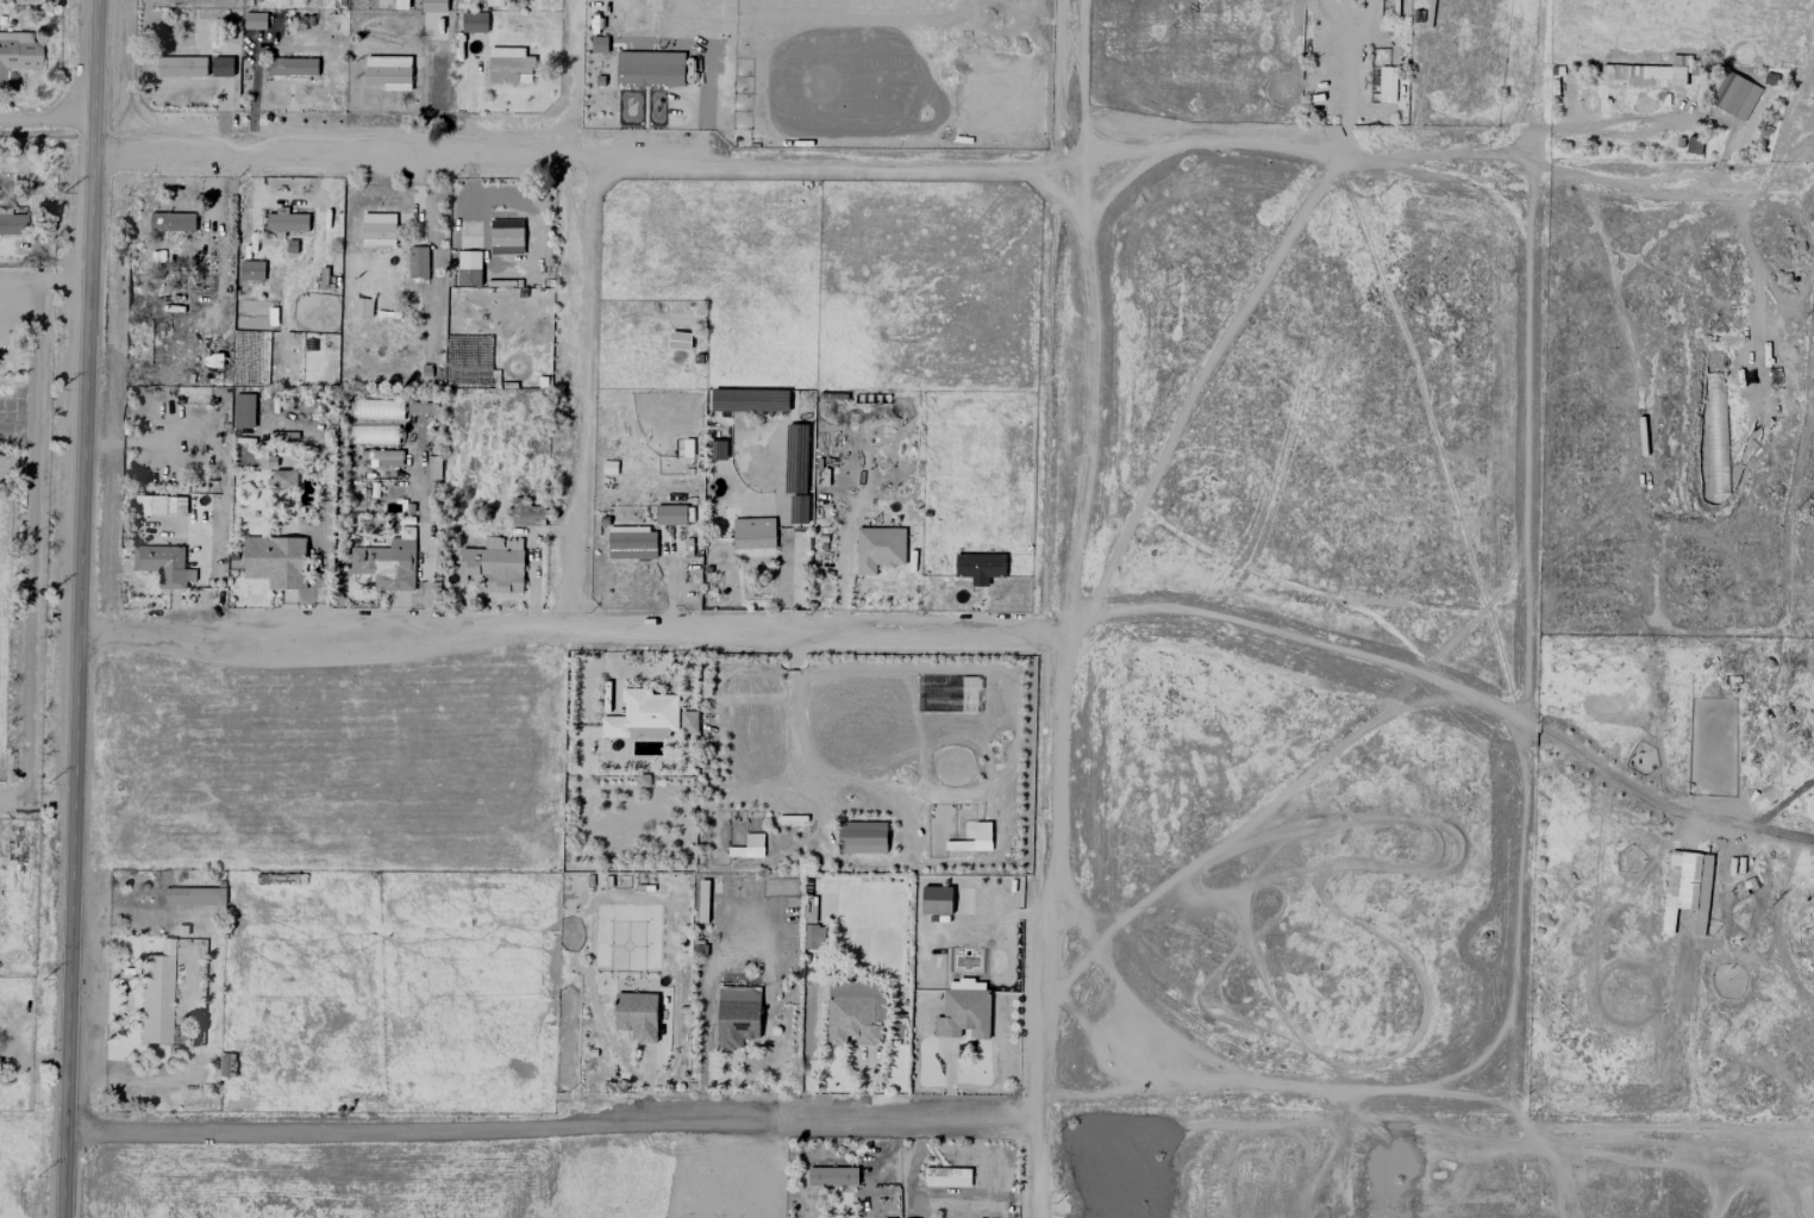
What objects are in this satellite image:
building: (493, 2)
building: (254, 20)
building: (473, 21)
building: (14, 35)
building: (175, 52)
building: (18, 55)
building: (1353, 58)
building: (508, 65)
building: (181, 67)
building: (220, 67)
building: (292, 67)
building: (387, 71)
building: (640, 74)
building: (1385, 83)
building: (1734, 95)
road: (49, 115)
road: (924, 167)
building: (170, 221)
building: (12, 223)
building: (377, 229)
building: (505, 237)
building: (417, 262)
building: (468, 268)
building: (251, 270)
road: (18, 279)
building: (362, 307)
road: (1530, 361)
road: (1191, 381)
road: (577, 398)
building: (749, 400)
building: (376, 408)
building: (243, 411)
building: (377, 433)
building: (719, 450)
building: (383, 458)
building: (611, 467)
building: (283, 479)
building: (161, 505)
road: (30, 512)
building: (526, 513)
building: (670, 516)
building: (752, 533)
building: (631, 542)
building: (877, 549)
building: (275, 561)
building: (162, 564)
building: (386, 564)
building: (494, 564)
building: (978, 566)
road: (1289, 594)
road: (80, 608)
road: (1057, 608)
road: (568, 629)
road: (1496, 707)
building: (638, 713)
road: (38, 801)
road: (1255, 814)
building: (861, 837)
building: (748, 847)
building: (1687, 880)
building: (193, 895)
building: (702, 901)
road: (1777, 927)
building: (813, 936)
road: (36, 954)
building: (156, 993)
building: (636, 1014)
building: (736, 1014)
building: (856, 1014)
road: (1124, 1022)
road: (1083, 1024)
road: (1437, 1082)
road: (555, 1119)
building: (831, 1175)
building: (946, 1176)

